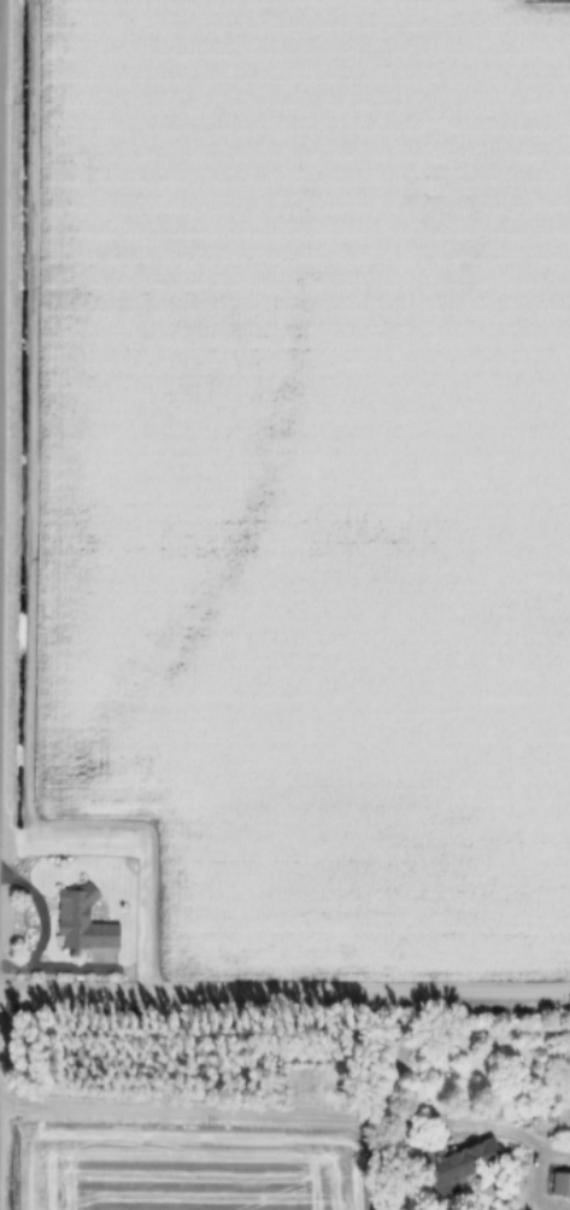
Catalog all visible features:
road: (0, 141)
building: (84, 920)
road: (284, 995)
road: (252, 1117)
road: (542, 1162)
building: (459, 1163)
building: (560, 1182)

